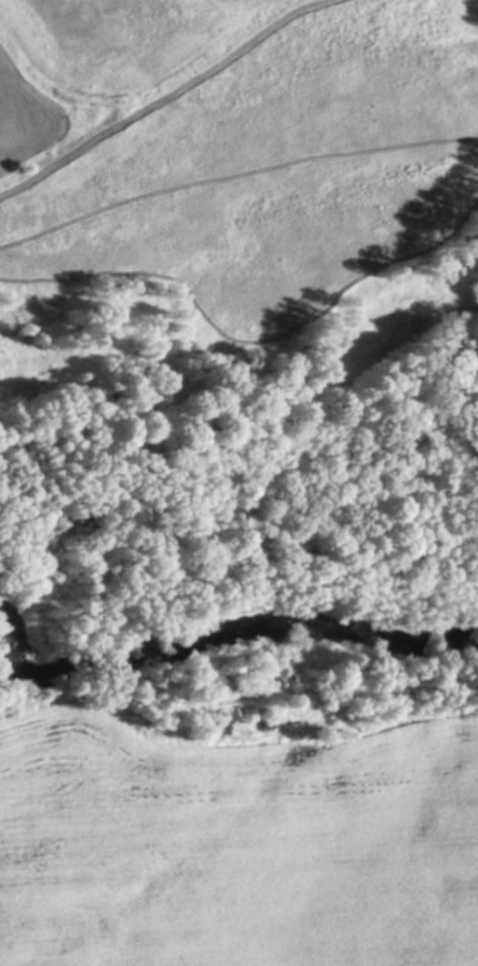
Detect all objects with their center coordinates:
river: (228, 646)

